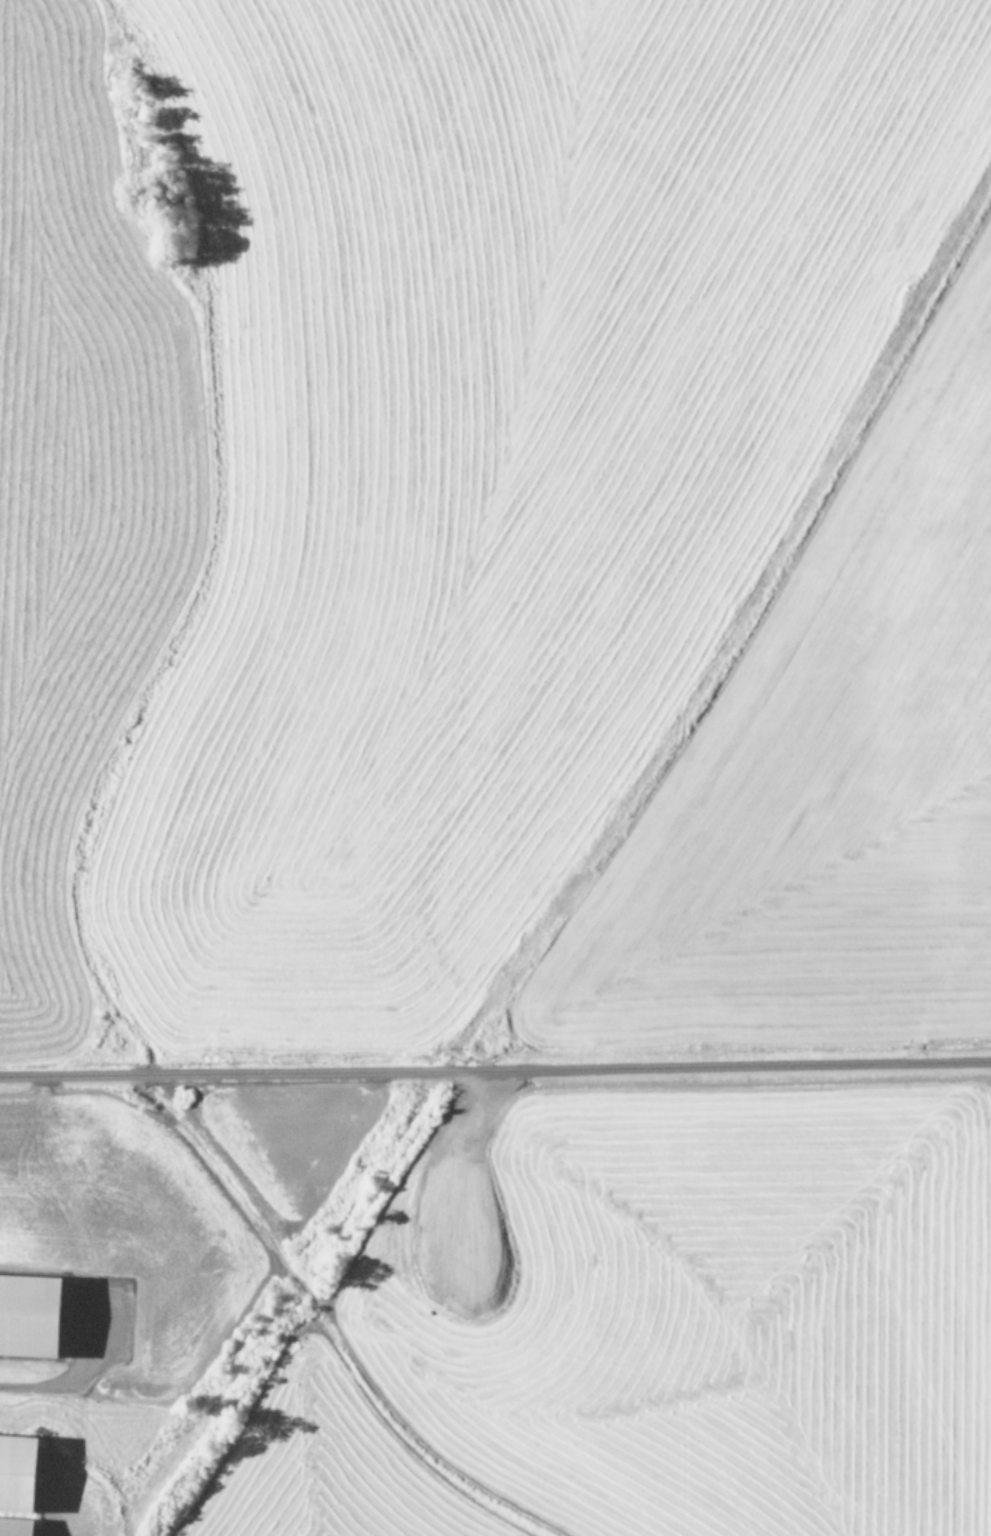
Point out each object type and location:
crop: (495, 768)
road: (495, 1066)
building: (26, 1315)
building: (14, 1470)
building: (13, 1526)

